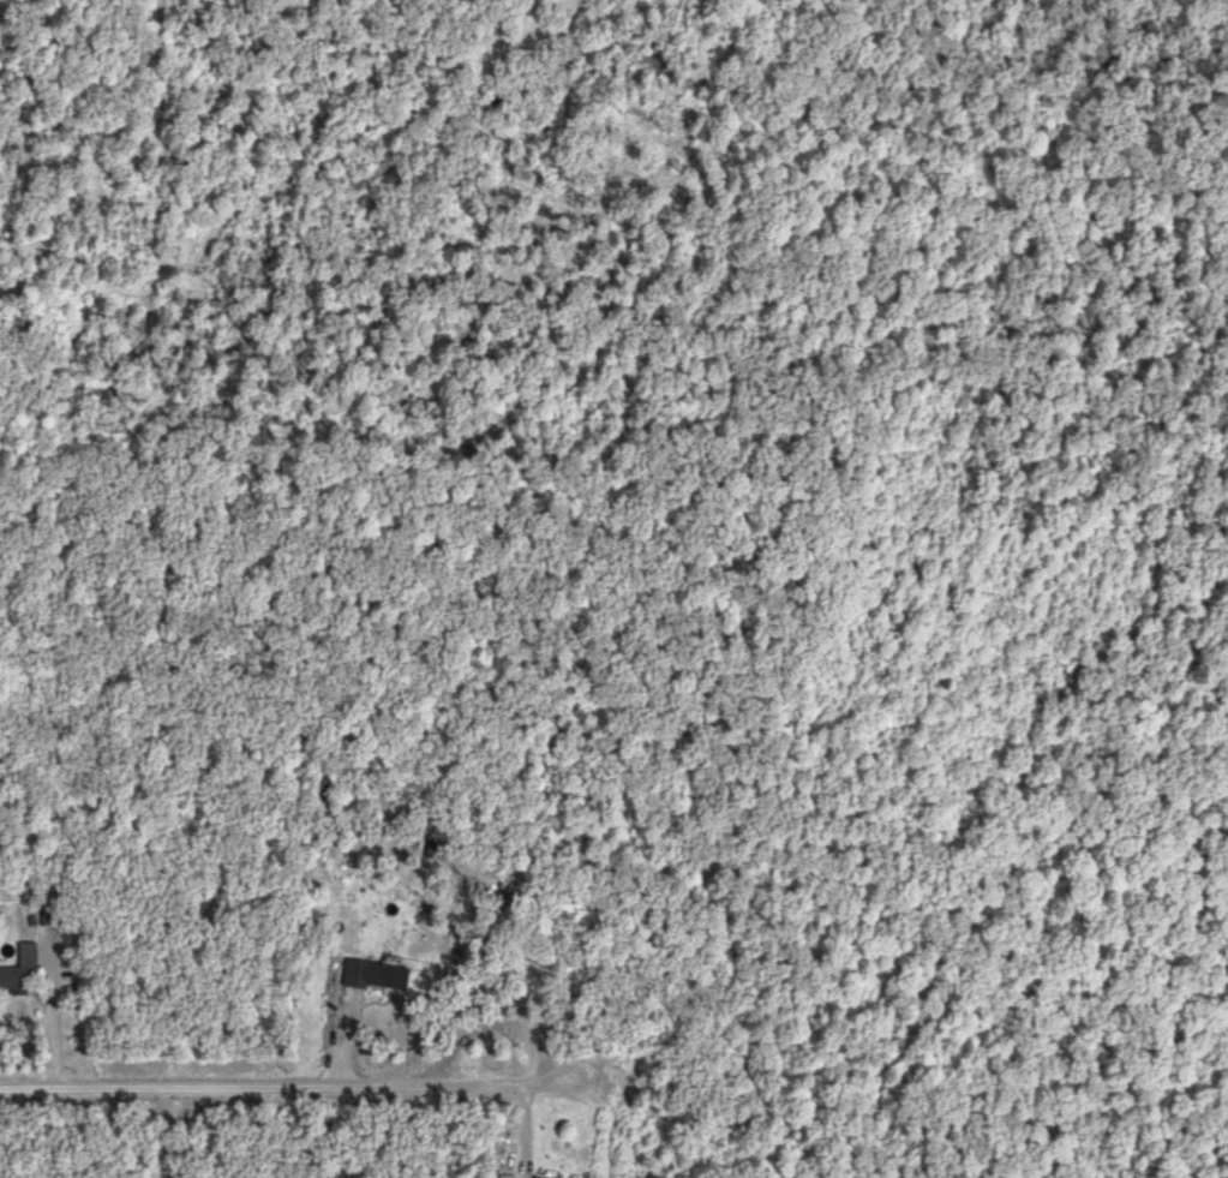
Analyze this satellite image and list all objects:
building: (22, 970)
building: (376, 976)
road: (54, 1029)
road: (268, 1087)
road: (163, 1132)
building: (505, 1176)

